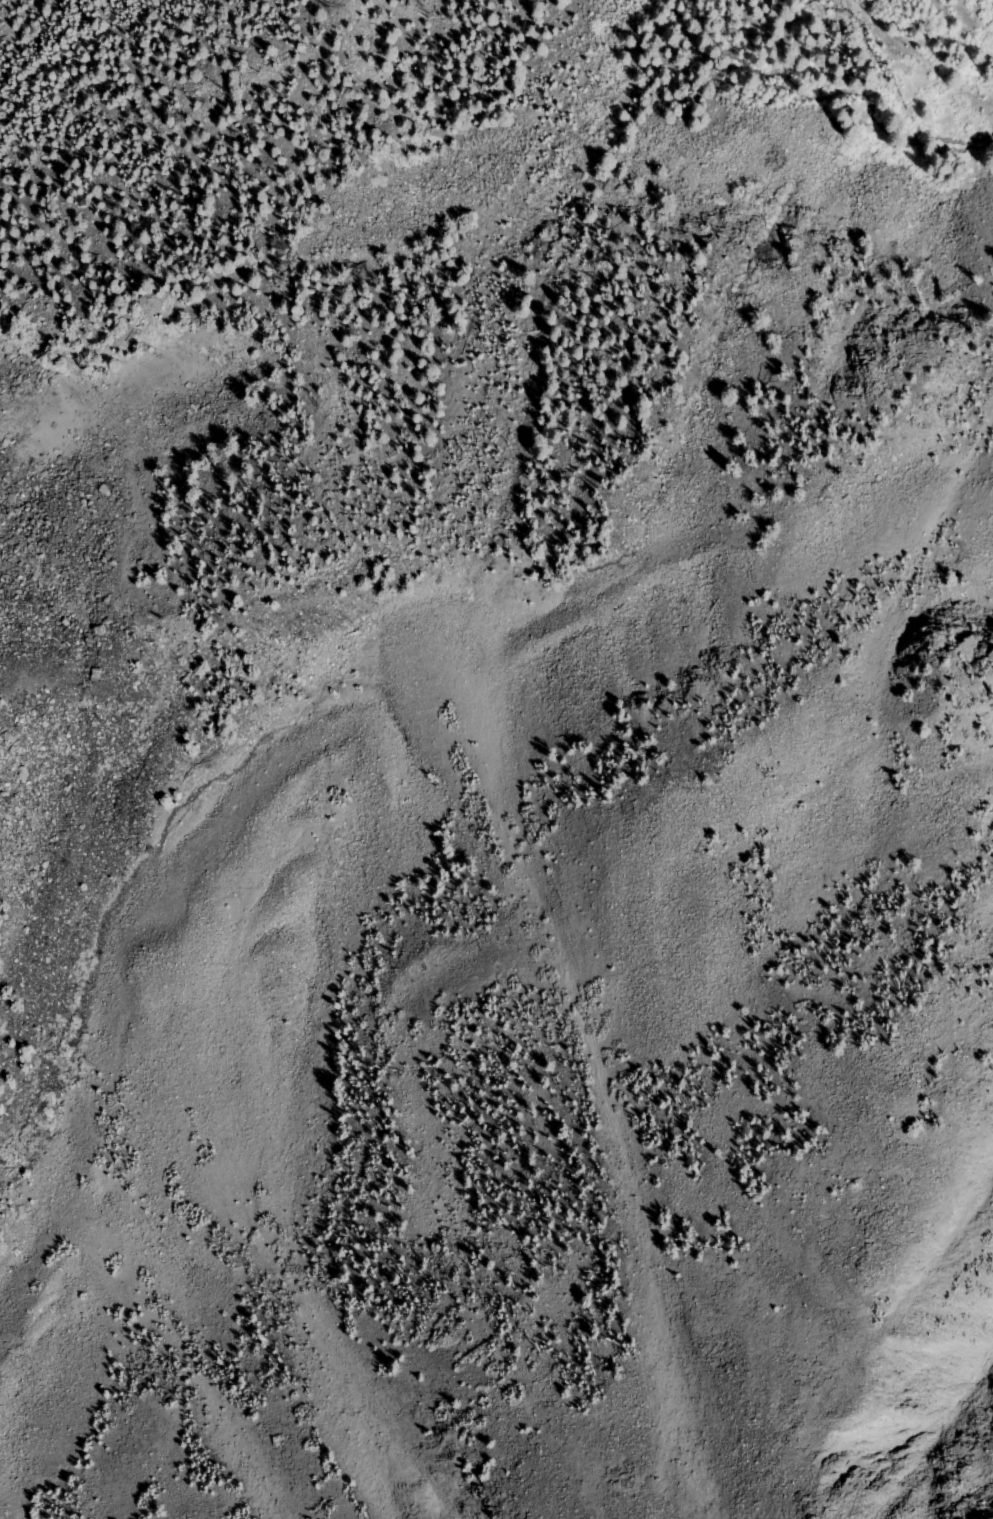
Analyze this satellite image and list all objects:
road: (917, 57)

